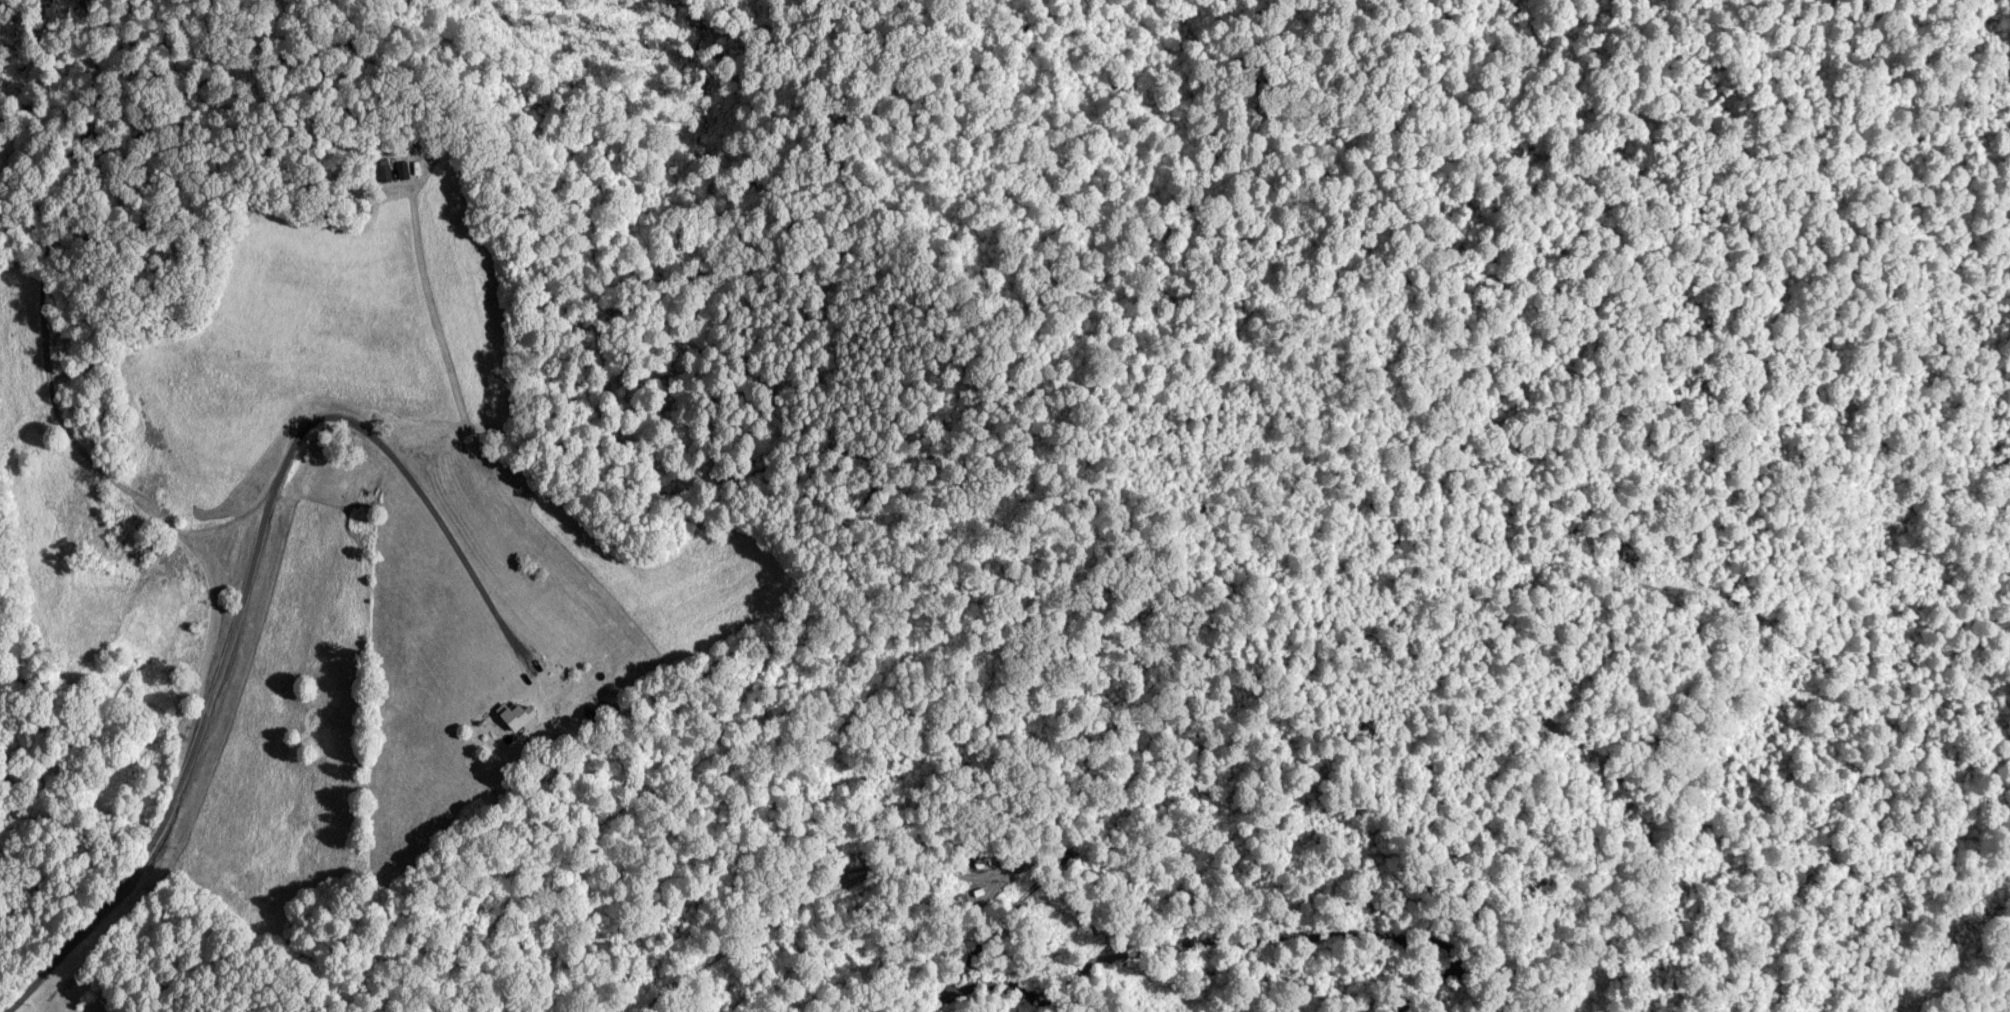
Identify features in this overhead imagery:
building: (404, 168)
building: (519, 710)
road: (180, 763)
road: (866, 917)

